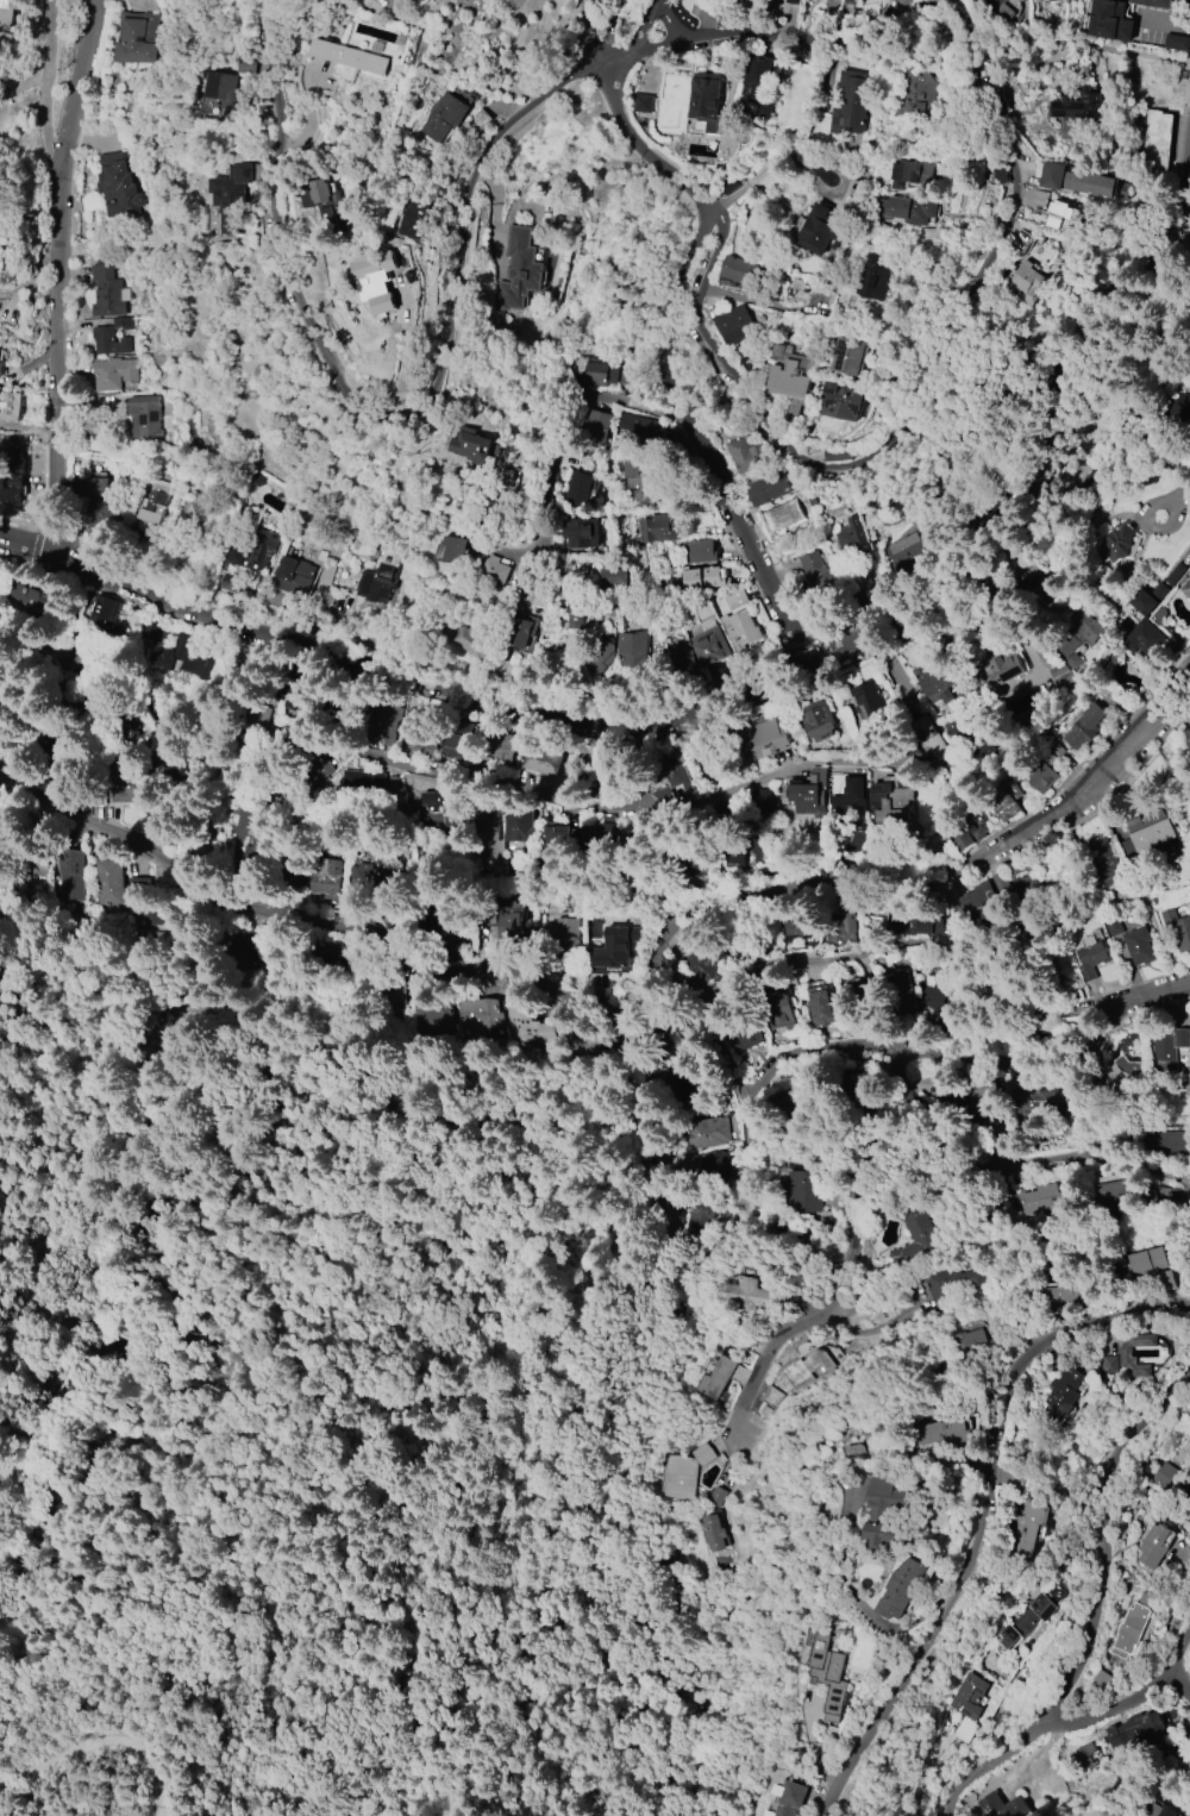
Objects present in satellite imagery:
building: (420, 1)
building: (791, 1)
building: (827, 1)
building: (847, 1)
building: (1153, 4)
building: (1000, 8)
building: (7, 11)
building: (1108, 20)
road: (669, 27)
road: (644, 29)
road: (599, 36)
building: (137, 38)
building: (1176, 42)
road: (664, 49)
building: (353, 56)
road: (1157, 57)
road: (618, 64)
road: (84, 86)
building: (756, 86)
road: (1189, 87)
building: (227, 90)
building: (921, 92)
road: (1189, 93)
road: (985, 98)
building: (643, 104)
building: (704, 104)
building: (851, 104)
building: (1077, 106)
building: (444, 117)
building: (1155, 143)
road: (639, 152)
road: (1179, 152)
building: (909, 174)
building: (1000, 175)
building: (1078, 180)
building: (115, 186)
building: (324, 192)
building: (232, 195)
road: (463, 207)
building: (907, 209)
building: (1061, 215)
building: (411, 218)
building: (819, 230)
road: (1179, 232)
road: (278, 250)
road: (1188, 264)
building: (388, 267)
building: (519, 269)
building: (737, 271)
road: (56, 275)
road: (33, 278)
building: (873, 280)
building: (1026, 280)
road: (1111, 287)
building: (104, 292)
building: (361, 317)
building: (734, 324)
building: (107, 342)
building: (845, 356)
building: (1111, 364)
building: (0, 368)
road: (1026, 368)
road: (1045, 368)
building: (787, 372)
building: (112, 374)
building: (601, 374)
road: (745, 390)
building: (841, 401)
building: (10, 405)
building: (1177, 407)
road: (933, 413)
building: (144, 417)
road: (553, 426)
building: (596, 427)
building: (640, 427)
road: (694, 442)
building: (476, 443)
building: (745, 455)
building: (11, 475)
building: (637, 477)
road: (1026, 483)
building: (95, 487)
building: (768, 488)
building: (576, 489)
building: (152, 501)
building: (781, 515)
building: (656, 528)
building: (577, 532)
building: (854, 541)
road: (971, 543)
building: (1117, 544)
building: (451, 547)
building: (904, 549)
building: (255, 550)
building: (699, 551)
building: (814, 569)
building: (491, 571)
building: (1, 575)
building: (295, 576)
building: (609, 576)
building: (378, 577)
building: (701, 578)
building: (1186, 588)
building: (1040, 590)
building: (1155, 590)
building: (734, 599)
building: (35, 600)
building: (98, 608)
building: (576, 613)
building: (521, 628)
building: (740, 630)
building: (1082, 630)
building: (1140, 639)
building: (470, 641)
building: (709, 645)
building: (631, 649)
building: (599, 652)
building: (174, 656)
road: (825, 656)
building: (674, 664)
building: (1006, 671)
building: (1063, 671)
building: (932, 677)
building: (869, 697)
road: (697, 714)
building: (816, 719)
building: (384, 725)
building: (1085, 726)
building: (1186, 737)
building: (416, 739)
building: (765, 739)
building: (933, 740)
building: (453, 747)
building: (496, 751)
road: (1083, 759)
road: (632, 760)
building: (540, 763)
road: (800, 766)
building: (1041, 776)
building: (672, 779)
road: (503, 782)
building: (361, 783)
building: (808, 790)
building: (123, 793)
building: (762, 799)
building: (891, 799)
building: (1004, 799)
building: (850, 803)
building: (441, 807)
road: (1083, 820)
building: (486, 824)
building: (518, 824)
building: (967, 828)
building: (1151, 829)
building: (599, 834)
building: (556, 839)
building: (249, 856)
road: (963, 860)
building: (1103, 860)
building: (696, 866)
building: (67, 875)
building: (107, 879)
building: (319, 879)
building: (24, 882)
building: (1023, 884)
road: (662, 889)
building: (978, 900)
road: (662, 902)
road: (662, 918)
building: (508, 920)
building: (914, 922)
building: (441, 925)
building: (1113, 925)
building: (1176, 927)
building: (800, 928)
building: (841, 929)
building: (562, 934)
building: (1138, 945)
building: (613, 950)
road: (872, 954)
building: (1091, 958)
building: (701, 962)
building: (858, 989)
building: (903, 991)
road: (1164, 992)
road: (1179, 1000)
road: (632, 1002)
building: (820, 1006)
building: (778, 1010)
building: (427, 1016)
building: (478, 1019)
building: (522, 1026)
building: (743, 1035)
building: (1169, 1046)
road: (941, 1050)
building: (1119, 1073)
building: (675, 1083)
building: (982, 1089)
road: (909, 1095)
building: (1033, 1103)
road: (635, 1104)
building: (793, 1107)
road: (477, 1132)
building: (706, 1133)
building: (1166, 1140)
road: (1113, 1158)
road: (90, 1165)
building: (708, 1167)
building: (806, 1192)
building: (1115, 1196)
building: (1039, 1200)
road: (856, 1210)
building: (695, 1215)
building: (914, 1236)
building: (1152, 1267)
road: (681, 1278)
building: (952, 1285)
building: (749, 1295)
building: (971, 1344)
building: (1126, 1352)
building: (1109, 1364)
building: (807, 1367)
building: (719, 1378)
building: (771, 1396)
road: (296, 1397)
building: (1060, 1397)
building: (939, 1432)
building: (684, 1471)
building: (1163, 1474)
building: (1188, 1501)
building: (1188, 1504)
building: (887, 1510)
road: (987, 1516)
building: (1027, 1528)
building: (712, 1530)
building: (1153, 1545)
building: (1175, 1546)
building: (903, 1589)
road: (864, 1599)
road: (1094, 1605)
building: (1020, 1624)
building: (1127, 1630)
building: (832, 1672)
road: (1179, 1685)
building: (969, 1696)
road: (1129, 1696)
building: (965, 1730)
building: (1135, 1730)
road: (104, 1743)
building: (1088, 1753)
building: (791, 1799)
building: (1001, 1806)
building: (1160, 1812)
building: (1129, 1815)

